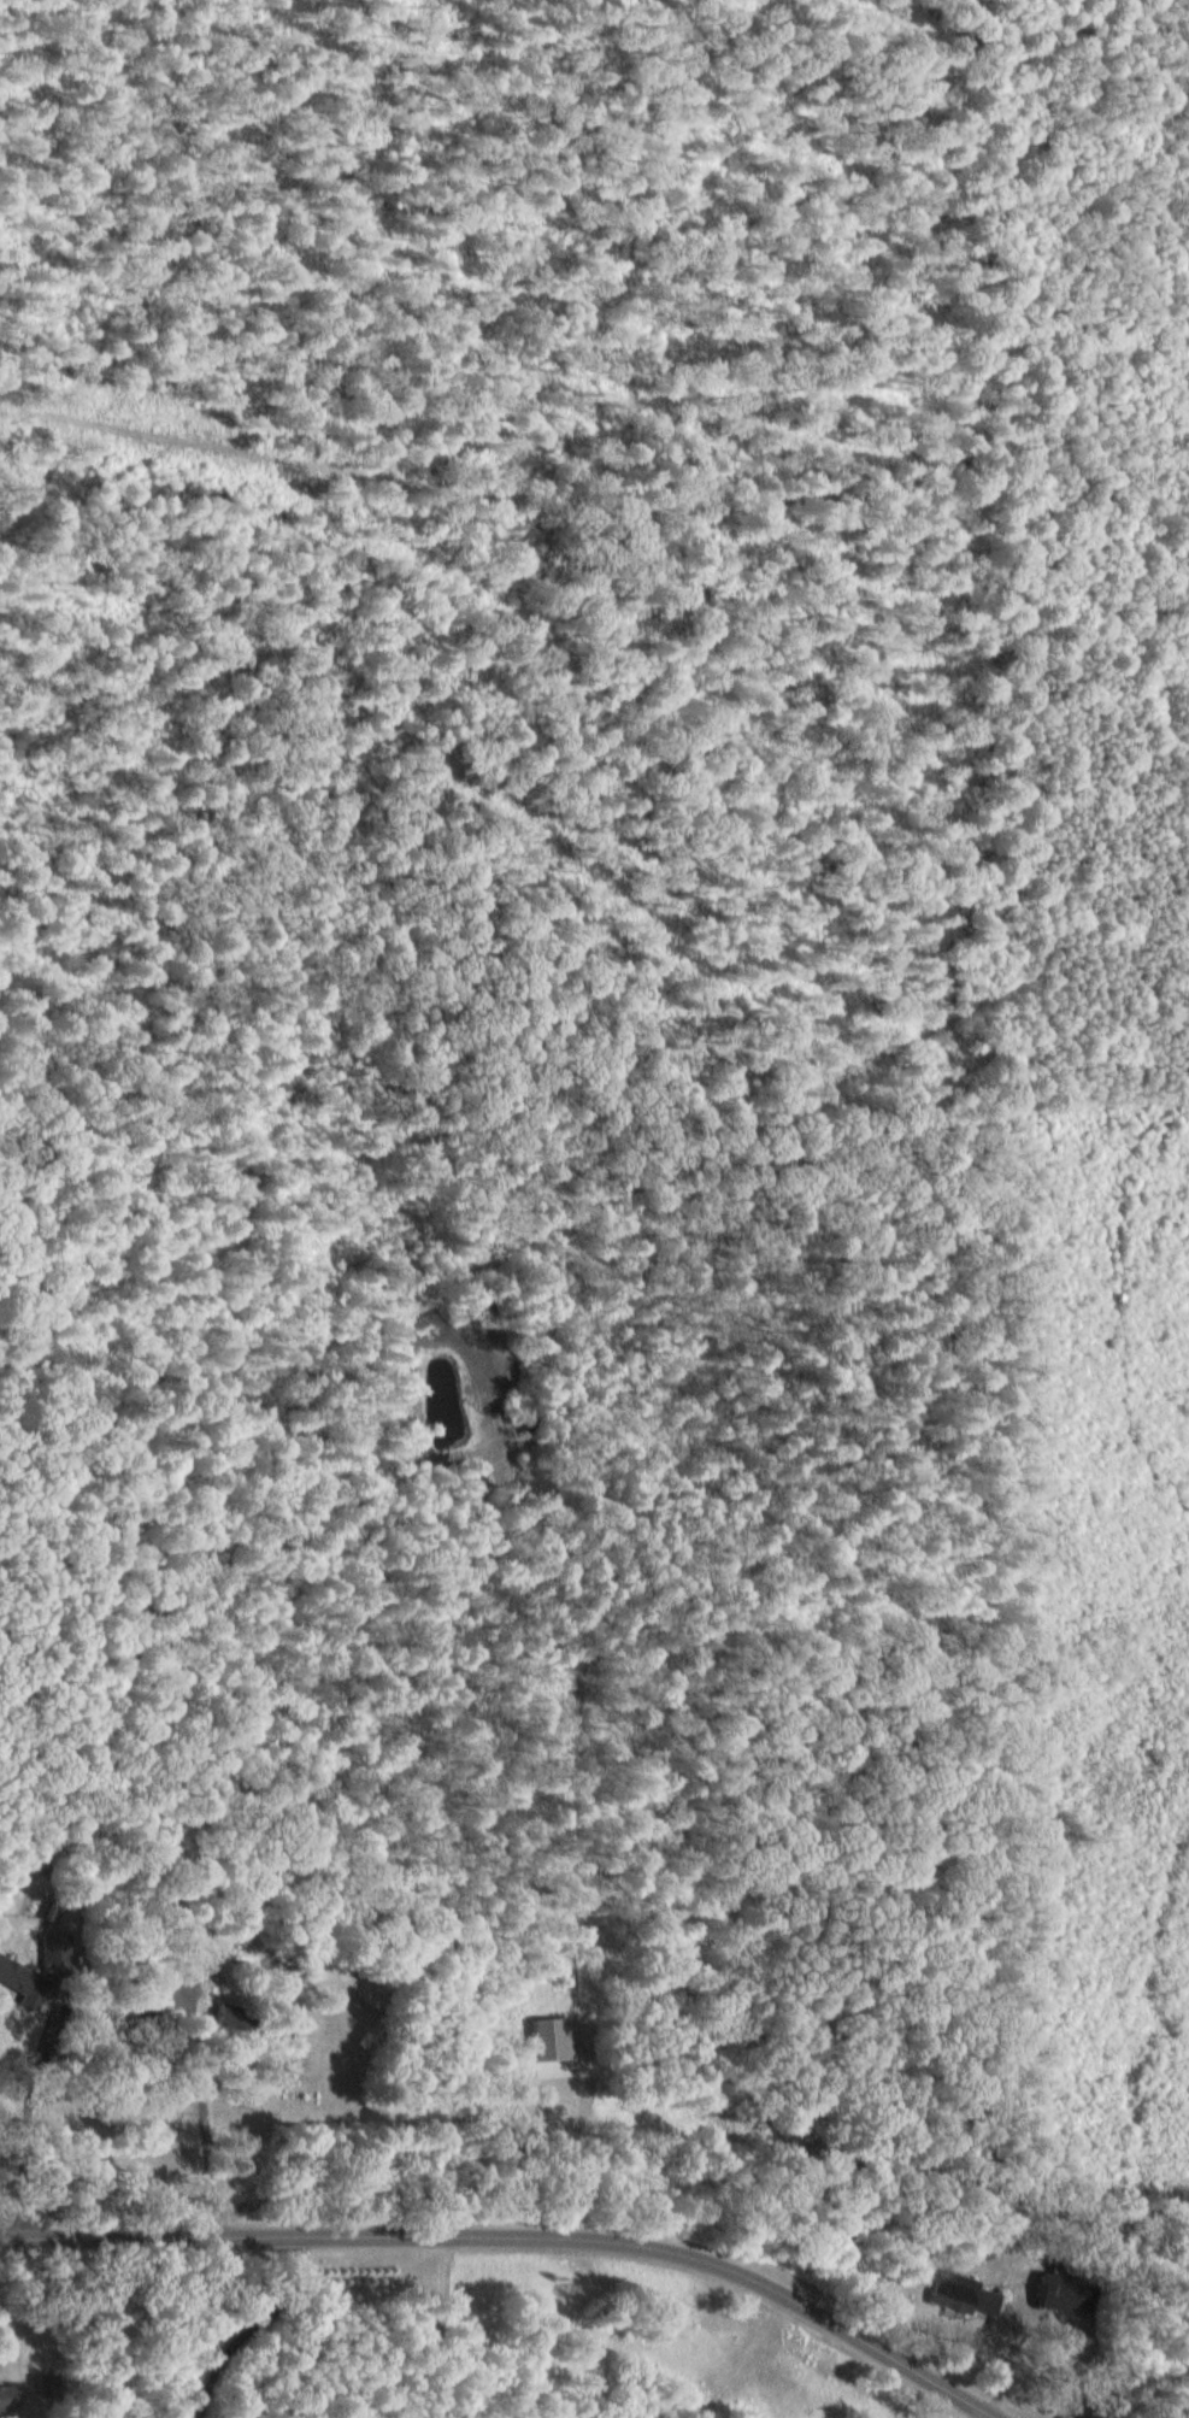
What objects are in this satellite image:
building: (11, 1975)
road: (520, 2240)
building: (963, 2296)
building: (5, 2398)

